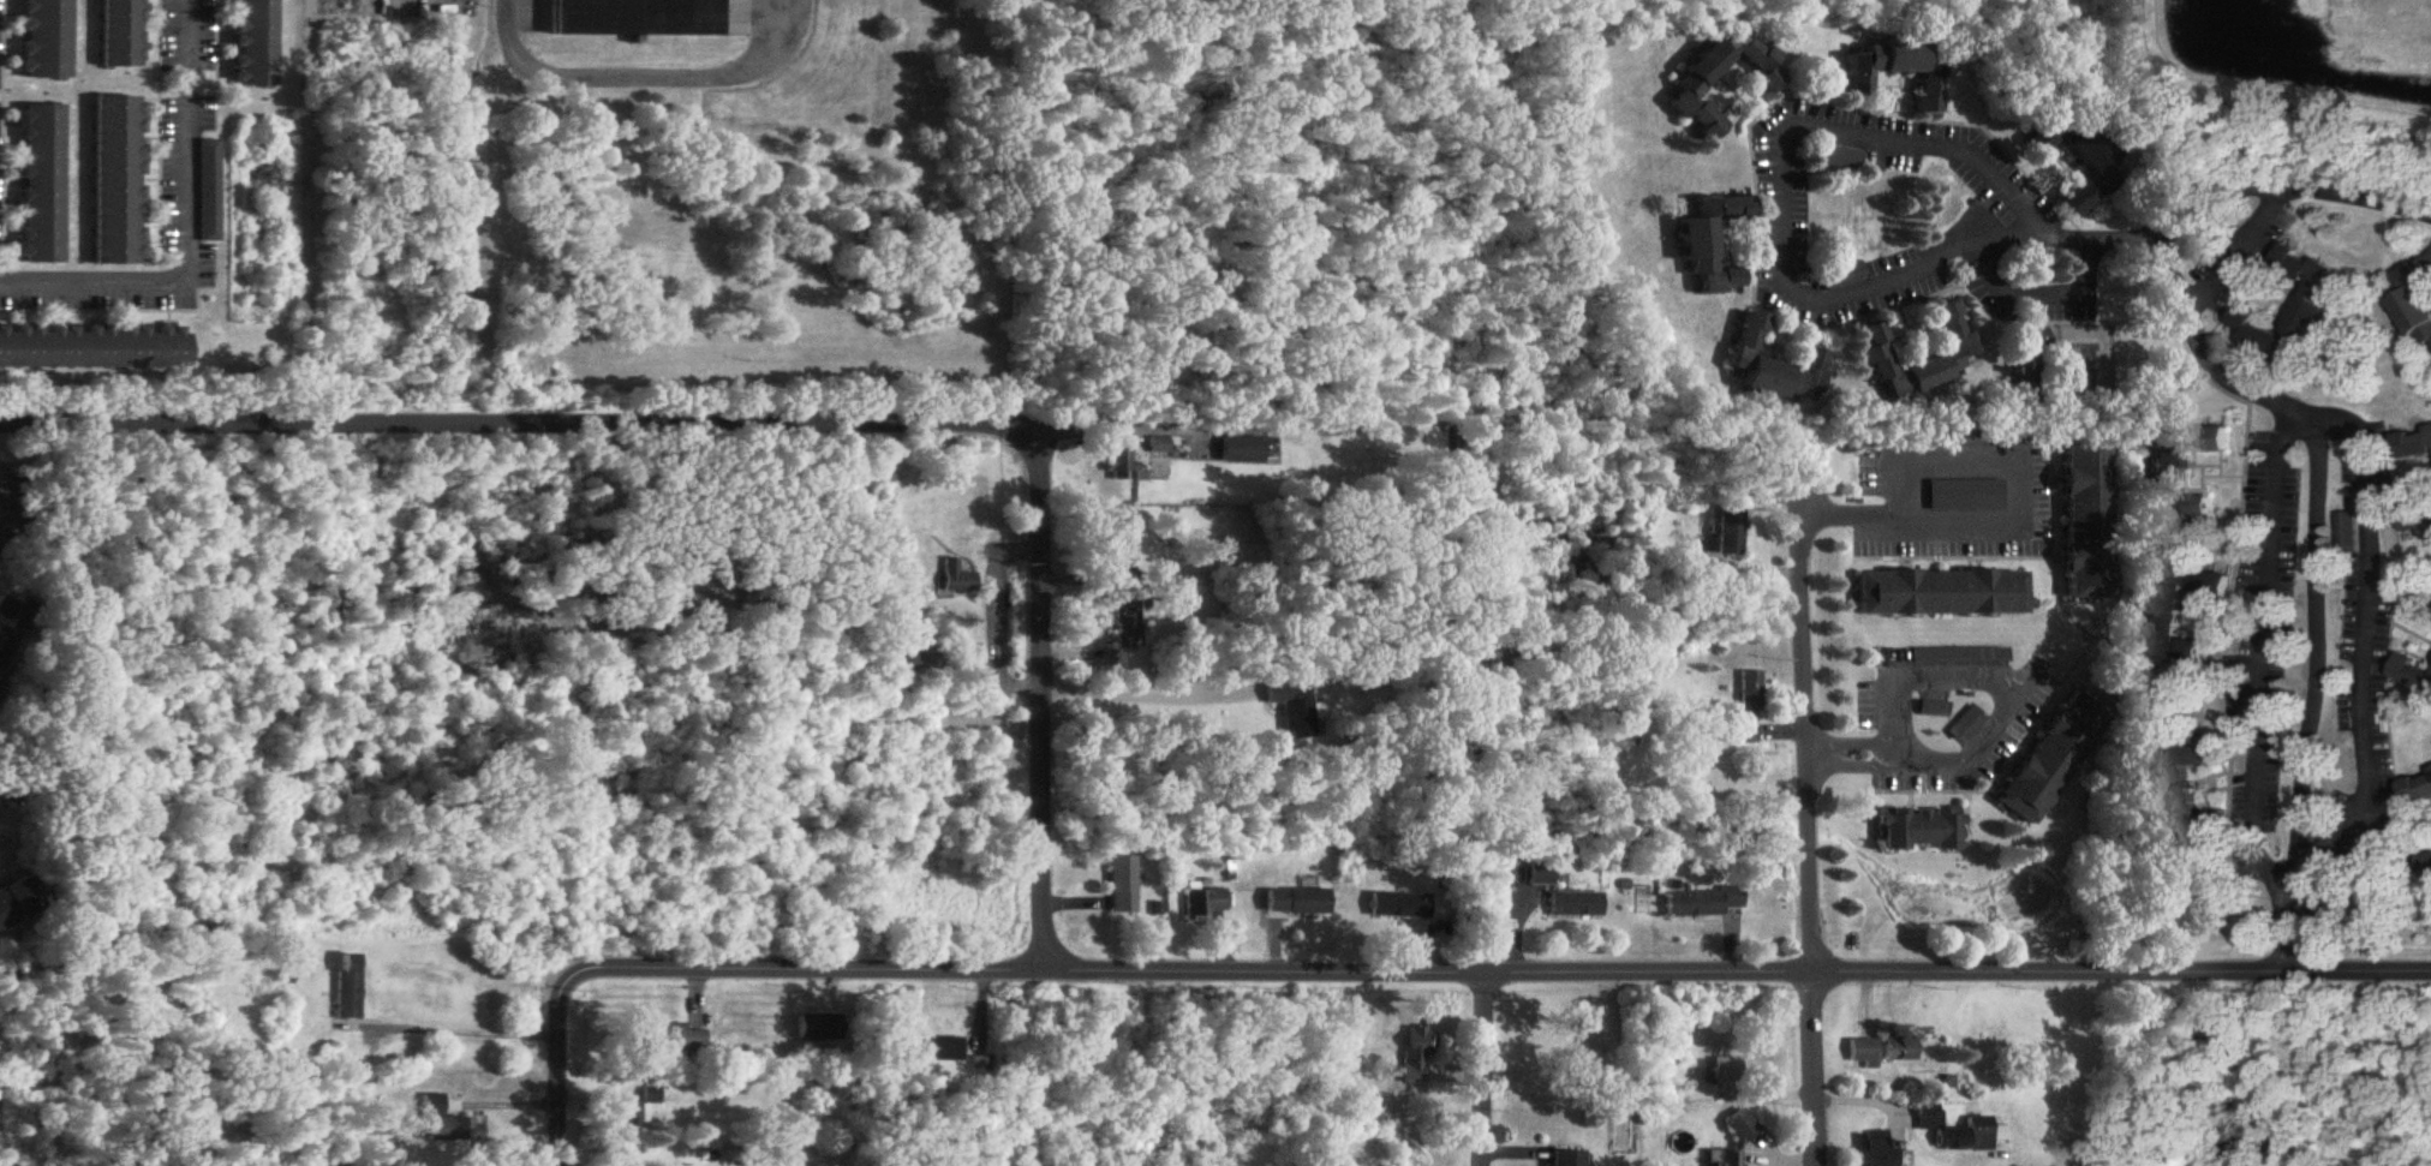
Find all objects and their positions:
building: (638, 18)
building: (120, 34)
building: (46, 40)
building: (255, 43)
building: (1886, 61)
road: (644, 71)
building: (1694, 83)
building: (1929, 96)
building: (2067, 144)
road: (1942, 151)
building: (118, 181)
building: (42, 185)
building: (208, 191)
road: (2284, 191)
building: (2083, 197)
road: (189, 234)
building: (1713, 240)
road: (2236, 256)
building: (1841, 276)
road: (2041, 288)
building: (2320, 297)
building: (2415, 301)
building: (1954, 330)
building: (92, 347)
road: (2197, 352)
building: (1878, 354)
building: (2031, 359)
building: (1775, 366)
road: (485, 424)
road: (1106, 427)
building: (2417, 444)
building: (1158, 447)
building: (1242, 450)
building: (1121, 460)
building: (2184, 473)
building: (1966, 496)
road: (2015, 513)
building: (2087, 521)
building: (1730, 532)
building: (2345, 532)
building: (1118, 549)
building: (956, 579)
building: (1942, 594)
building: (2181, 609)
road: (986, 614)
building: (1127, 627)
building: (10, 628)
road: (2359, 633)
building: (906, 645)
building: (1959, 657)
road: (2259, 660)
road: (1027, 675)
building: (2414, 675)
road: (1999, 676)
road: (1136, 698)
building: (1749, 708)
building: (1294, 710)
road: (1876, 752)
road: (1816, 754)
building: (2055, 759)
building: (2430, 771)
building: (2186, 781)
building: (2417, 791)
road: (1808, 831)
building: (1921, 831)
building: (2427, 868)
building: (1123, 886)
building: (1297, 903)
building: (1203, 904)
building: (1702, 904)
building: (16, 905)
building: (1398, 907)
building: (1576, 907)
road: (1471, 974)
building: (348, 988)
road: (472, 1027)
building: (824, 1028)
building: (675, 1039)
building: (934, 1051)
building: (1899, 1051)
building: (1864, 1053)
building: (1417, 1057)
road: (1479, 1070)
building: (1726, 1070)
road: (555, 1098)
building: (638, 1112)
building: (450, 1123)
building: (1742, 1128)
building: (1972, 1136)
building: (1874, 1150)
building: (1569, 1159)
building: (1725, 1159)

